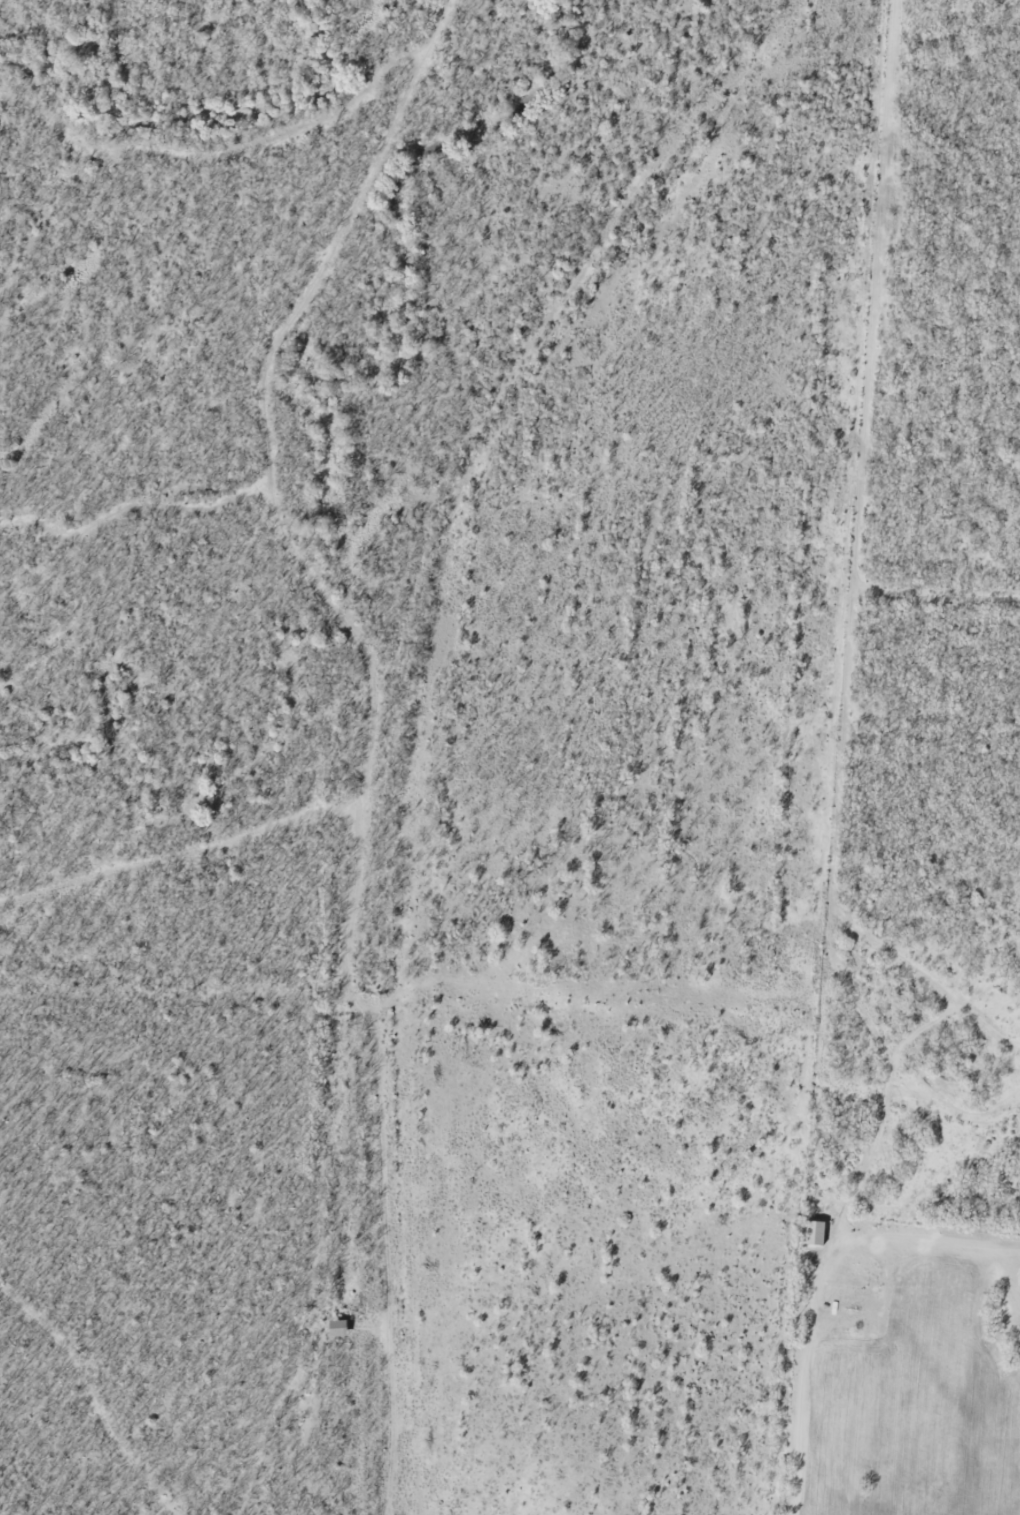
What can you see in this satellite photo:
building: (812, 1234)
building: (853, 1298)
road: (802, 1403)

